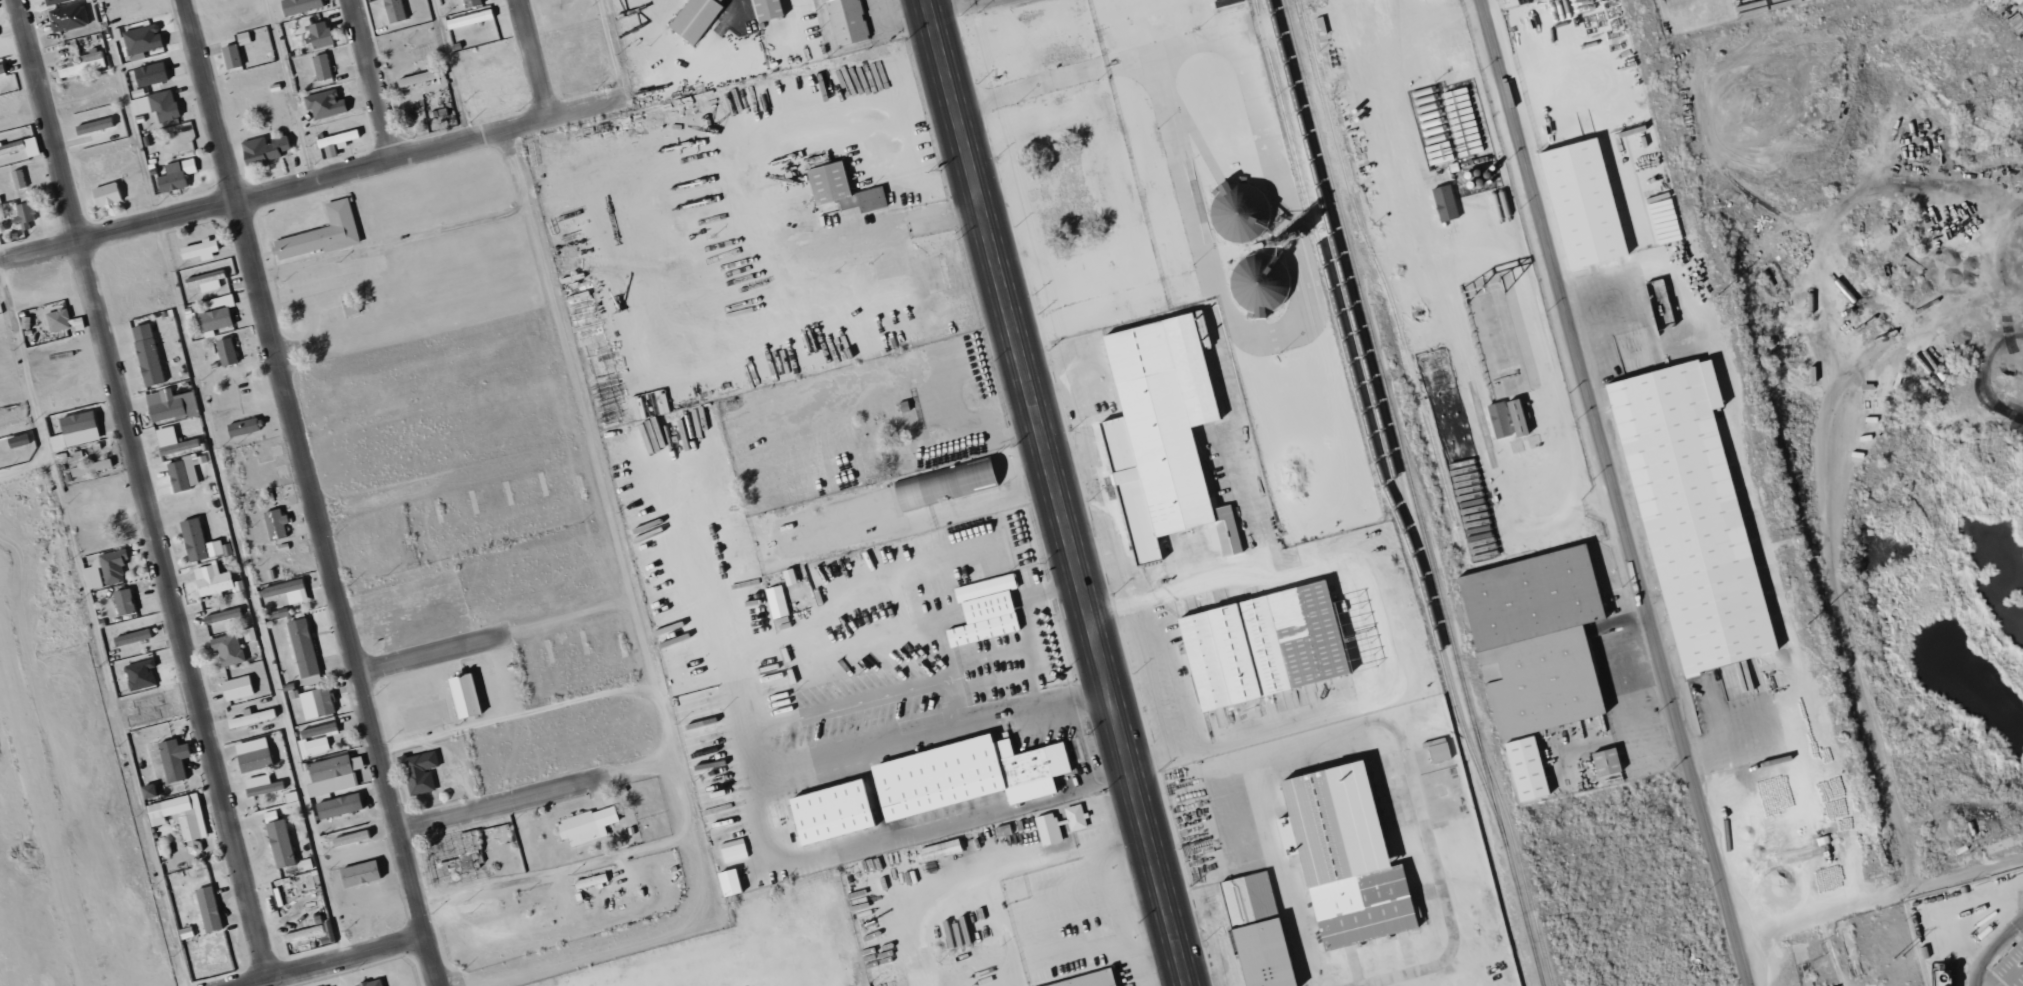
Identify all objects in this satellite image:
building: (2016, 1)
building: (53, 2)
building: (469, 3)
building: (299, 6)
building: (764, 9)
building: (393, 10)
building: (467, 19)
building: (693, 19)
building: (844, 21)
building: (318, 34)
building: (140, 39)
building: (229, 56)
road: (538, 59)
building: (82, 64)
building: (320, 66)
building: (1, 68)
road: (448, 71)
building: (148, 74)
building: (418, 77)
road: (375, 80)
building: (155, 106)
building: (91, 126)
building: (335, 139)
building: (20, 147)
building: (263, 150)
building: (174, 175)
building: (17, 179)
road: (315, 181)
building: (839, 189)
building: (104, 194)
building: (1443, 203)
building: (1579, 203)
building: (1236, 212)
building: (20, 214)
road: (880, 230)
building: (320, 233)
building: (197, 249)
railway: (1374, 259)
building: (935, 274)
building: (202, 278)
railway: (1329, 285)
power tower: (1717, 295)
road: (383, 303)
building: (349, 308)
building: (57, 319)
building: (213, 319)
building: (224, 351)
building: (146, 354)
building: (169, 405)
railway: (1378, 416)
building: (1514, 418)
building: (1497, 420)
building: (76, 421)
building: (242, 426)
building: (1159, 435)
building: (172, 441)
railway: (1412, 458)
building: (89, 467)
building: (181, 474)
road: (4, 479)
building: (941, 484)
road: (432, 486)
road: (146, 488)
road: (1616, 492)
road: (315, 493)
road: (1055, 493)
railway: (1412, 493)
building: (1688, 517)
building: (277, 521)
road: (586, 524)
building: (196, 541)
building: (112, 565)
building: (92, 577)
building: (210, 580)
road: (247, 591)
building: (284, 591)
building: (122, 602)
building: (775, 602)
building: (982, 611)
building: (221, 615)
power tower: (1807, 624)
building: (1294, 636)
building: (130, 637)
road: (497, 638)
building: (1531, 640)
building: (301, 647)
building: (226, 649)
building: (1214, 659)
building: (140, 674)
building: (235, 687)
building: (461, 696)
building: (321, 701)
building: (249, 718)
building: (300, 740)
building: (1436, 750)
building: (251, 755)
building: (171, 759)
building: (1603, 762)
building: (1523, 768)
building: (418, 772)
building: (329, 774)
building: (962, 775)
building: (259, 785)
building: (146, 792)
road: (538, 797)
building: (336, 806)
building: (826, 812)
building: (177, 815)
building: (584, 825)
building: (1046, 829)
building: (278, 843)
building: (732, 850)
building: (936, 850)
building: (1341, 857)
railway: (1521, 867)
road: (557, 869)
building: (588, 881)
building: (726, 882)
building: (206, 909)
building: (1253, 930)
road: (578, 941)
power tower: (1897, 958)
road: (331, 961)
building: (2010, 965)
building: (1085, 980)
building: (369, 983)

